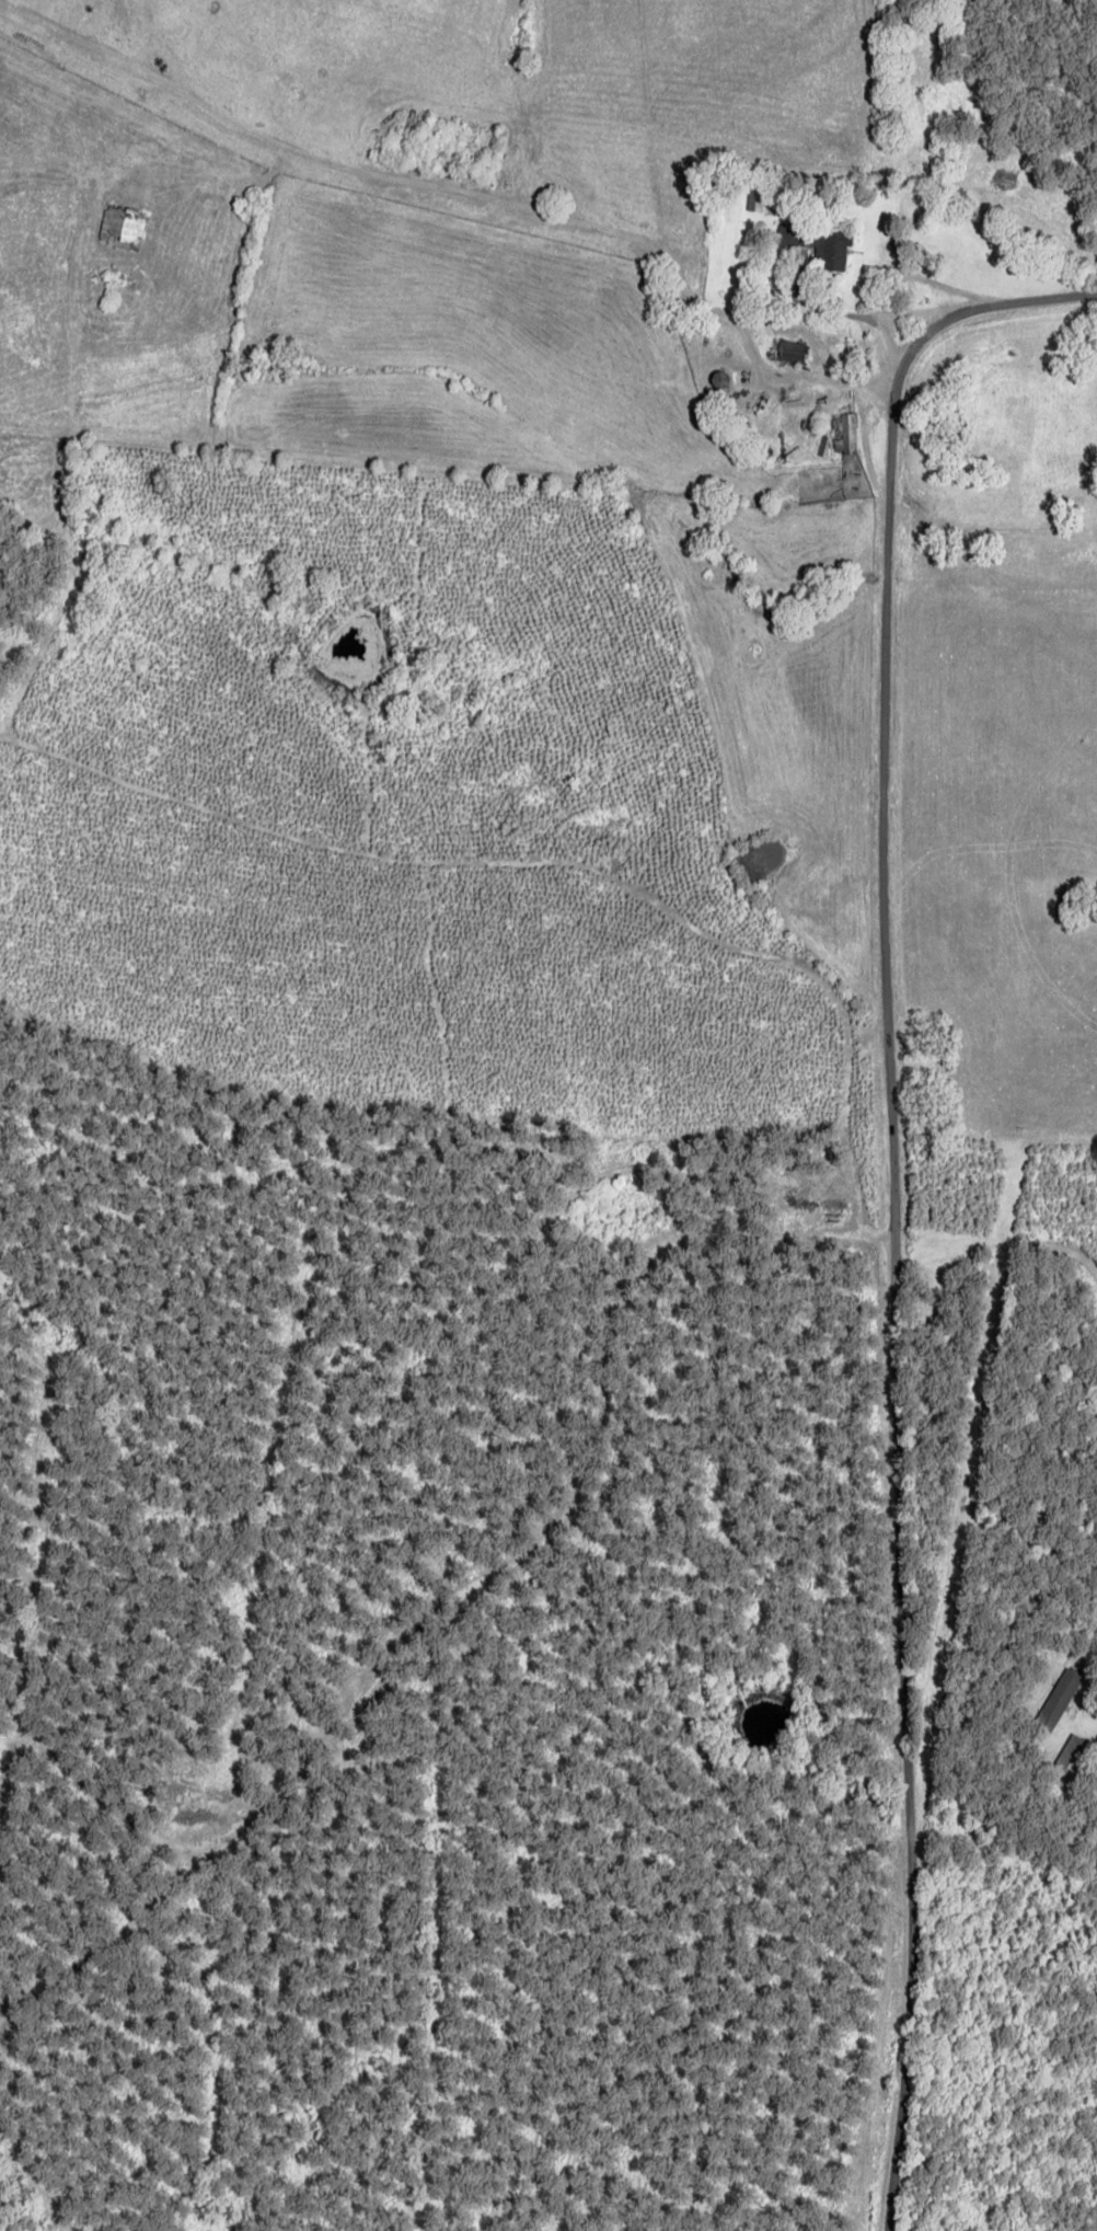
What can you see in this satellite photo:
road: (946, 182)
building: (819, 244)
road: (1029, 336)
building: (789, 349)
road: (598, 360)
building: (844, 433)
road: (912, 1295)
building: (1058, 1699)
building: (1073, 1755)

